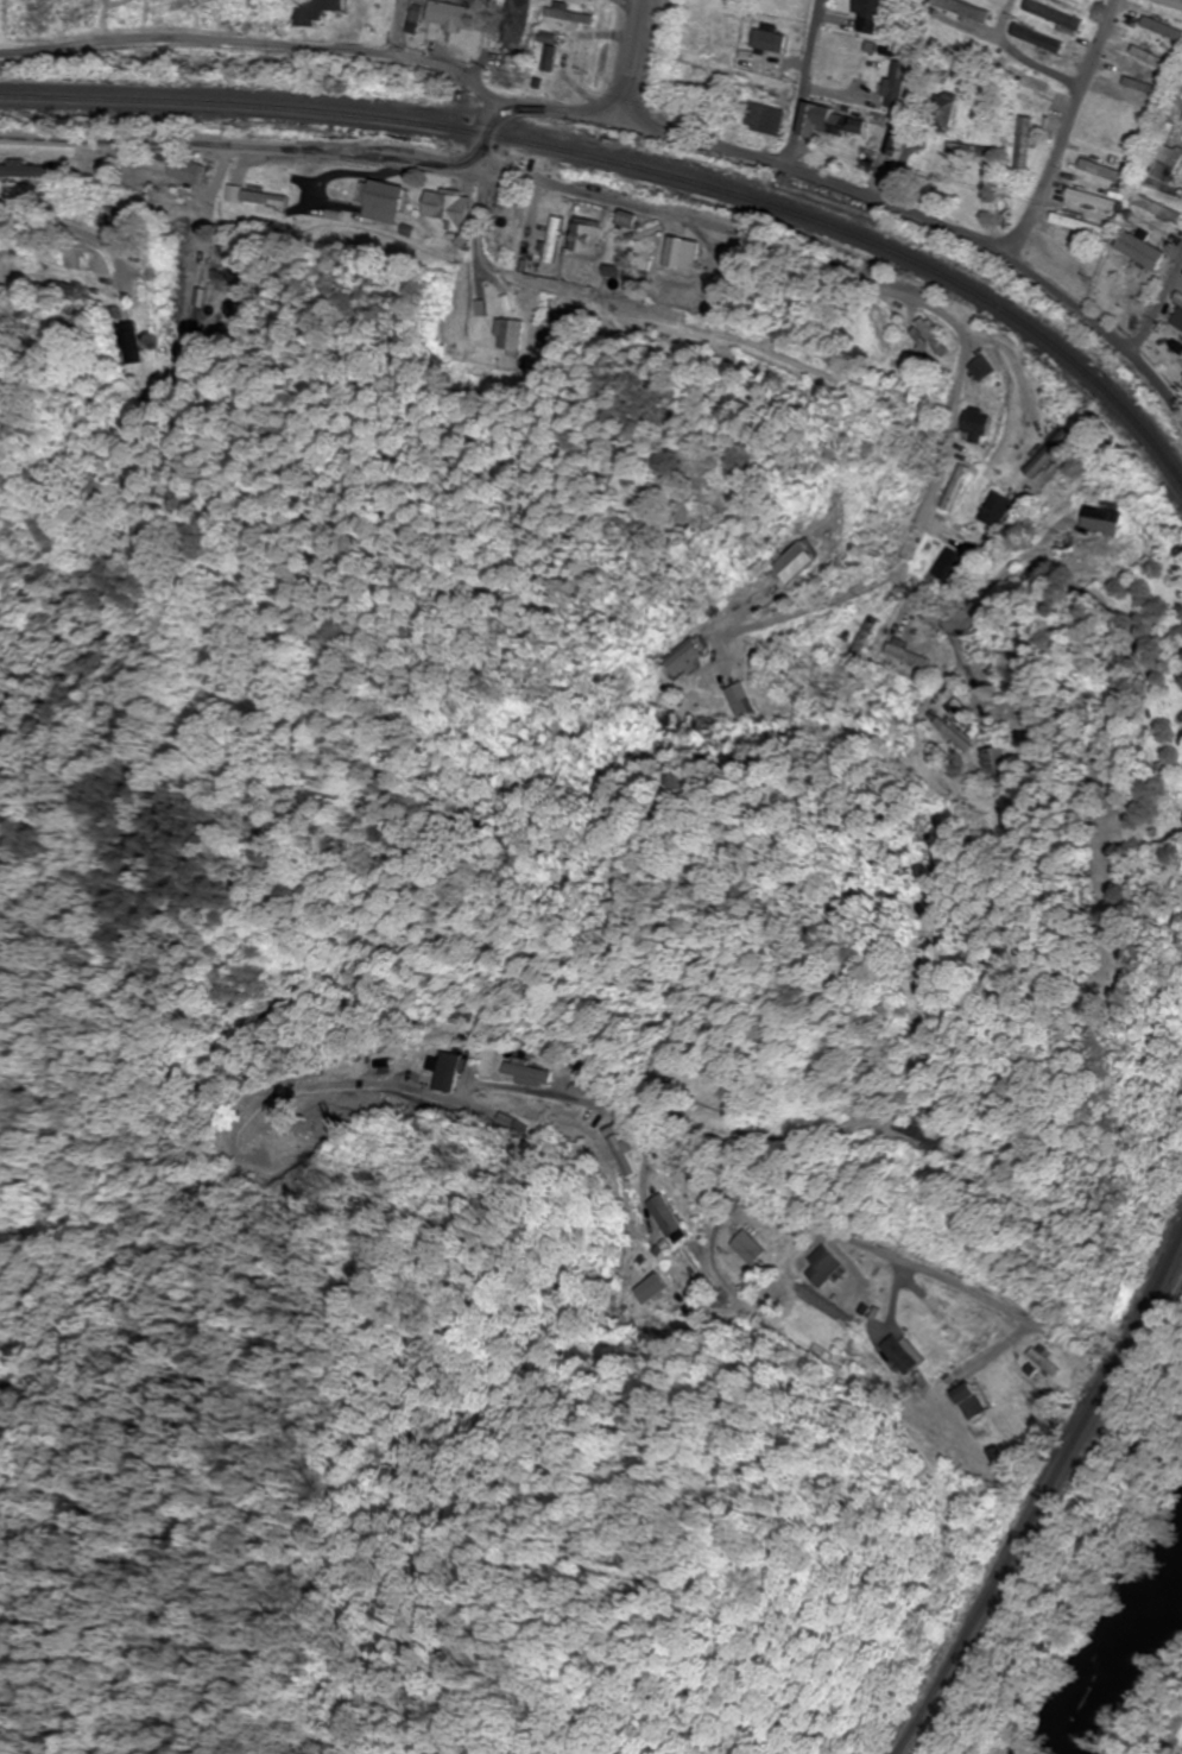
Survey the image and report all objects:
building: (1091, 0)
building: (1171, 2)
building: (967, 8)
building: (311, 11)
building: (568, 13)
building: (450, 14)
building: (518, 15)
building: (871, 15)
building: (1057, 15)
road: (397, 27)
building: (1164, 27)
building: (1041, 38)
road: (480, 40)
building: (769, 40)
building: (544, 52)
building: (1151, 52)
road: (1025, 56)
road: (627, 61)
building: (501, 81)
building: (897, 86)
road: (803, 87)
building: (1030, 87)
building: (1145, 87)
building: (1125, 112)
building: (764, 119)
building: (834, 122)
road: (626, 126)
road: (1067, 128)
road: (896, 133)
road: (488, 143)
building: (1024, 146)
building: (871, 153)
building: (1168, 163)
road: (385, 168)
building: (1102, 170)
building: (17, 171)
building: (187, 171)
railway: (637, 173)
building: (271, 190)
building: (384, 197)
building: (1091, 198)
building: (445, 208)
building: (1158, 208)
building: (1077, 225)
building: (587, 236)
building: (1139, 248)
building: (683, 254)
road: (228, 276)
road: (1156, 308)
road: (728, 317)
building: (511, 336)
building: (929, 337)
building: (128, 343)
road: (960, 355)
building: (978, 368)
building: (972, 424)
building: (1045, 455)
building: (952, 488)
building: (993, 510)
building: (1101, 520)
building: (949, 567)
building: (908, 654)
building: (747, 700)
building: (706, 704)
building: (955, 736)
building: (995, 765)
building: (1155, 778)
building: (904, 1136)
building: (666, 1219)
building: (750, 1248)
building: (823, 1267)
road: (967, 1291)
building: (664, 1292)
building: (904, 1355)
building: (1038, 1359)
building: (968, 1402)
railway: (1039, 1489)
river: (1121, 1664)

